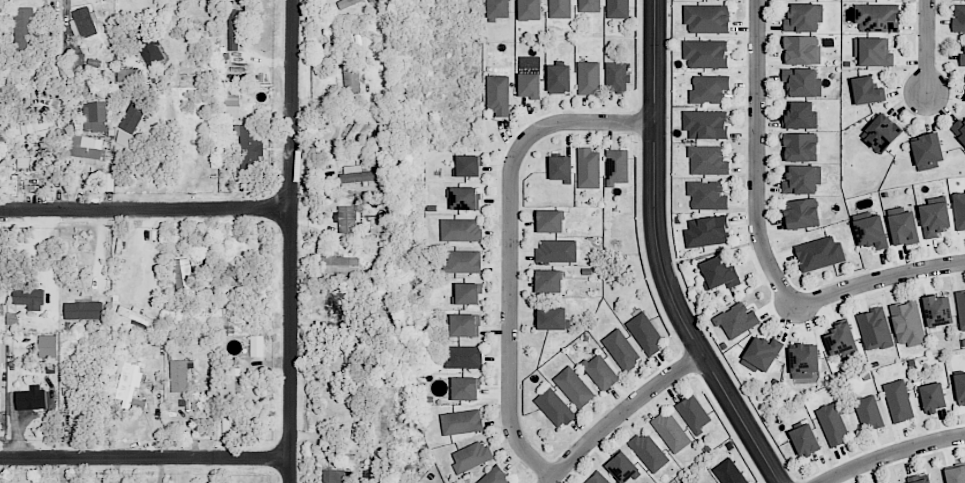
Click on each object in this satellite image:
building: (347, 3)
building: (589, 6)
building: (559, 8)
building: (498, 9)
building: (530, 9)
building: (617, 9)
building: (877, 17)
building: (707, 18)
building: (804, 18)
building: (959, 18)
building: (83, 21)
building: (24, 26)
building: (235, 28)
road: (928, 46)
building: (801, 49)
building: (153, 51)
building: (872, 52)
building: (705, 54)
building: (962, 59)
building: (77, 61)
building: (132, 76)
building: (616, 76)
building: (351, 77)
building: (559, 78)
building: (589, 78)
building: (802, 82)
building: (530, 85)
building: (709, 89)
building: (866, 90)
building: (498, 95)
building: (231, 104)
building: (94, 116)
building: (800, 116)
building: (705, 124)
building: (359, 127)
building: (959, 129)
building: (1, 130)
building: (34, 131)
building: (881, 133)
building: (251, 146)
building: (800, 146)
building: (928, 151)
building: (86, 152)
road: (758, 156)
building: (708, 160)
building: (468, 165)
building: (617, 166)
building: (561, 167)
building: (588, 168)
building: (361, 174)
building: (802, 179)
building: (707, 195)
building: (464, 198)
road: (145, 208)
building: (959, 209)
building: (802, 213)
building: (347, 218)
building: (934, 218)
building: (550, 221)
building: (903, 226)
building: (460, 230)
building: (707, 231)
building: (871, 232)
road: (291, 241)
road: (510, 249)
building: (557, 249)
road: (149, 253)
building: (819, 253)
road: (659, 256)
building: (463, 261)
building: (339, 265)
building: (719, 273)
building: (183, 278)
road: (879, 280)
building: (549, 281)
building: (466, 294)
building: (28, 296)
building: (961, 308)
building: (84, 310)
building: (938, 310)
building: (551, 318)
building: (736, 320)
building: (907, 323)
building: (465, 325)
building: (875, 329)
building: (645, 333)
building: (840, 339)
building: (48, 346)
building: (256, 346)
building: (621, 349)
building: (762, 353)
building: (464, 357)
building: (803, 361)
building: (600, 372)
building: (180, 375)
building: (231, 386)
building: (130, 387)
building: (574, 387)
building: (465, 388)
building: (960, 388)
building: (932, 397)
building: (31, 399)
building: (898, 400)
building: (554, 407)
road: (622, 413)
building: (694, 413)
building: (868, 413)
building: (461, 422)
building: (832, 424)
building: (231, 427)
building: (671, 431)
building: (805, 440)
building: (649, 452)
road: (893, 453)
building: (471, 456)
road: (146, 458)
building: (621, 466)
building: (729, 472)
building: (955, 474)
building: (333, 476)
building: (495, 476)
building: (597, 478)
building: (919, 479)

